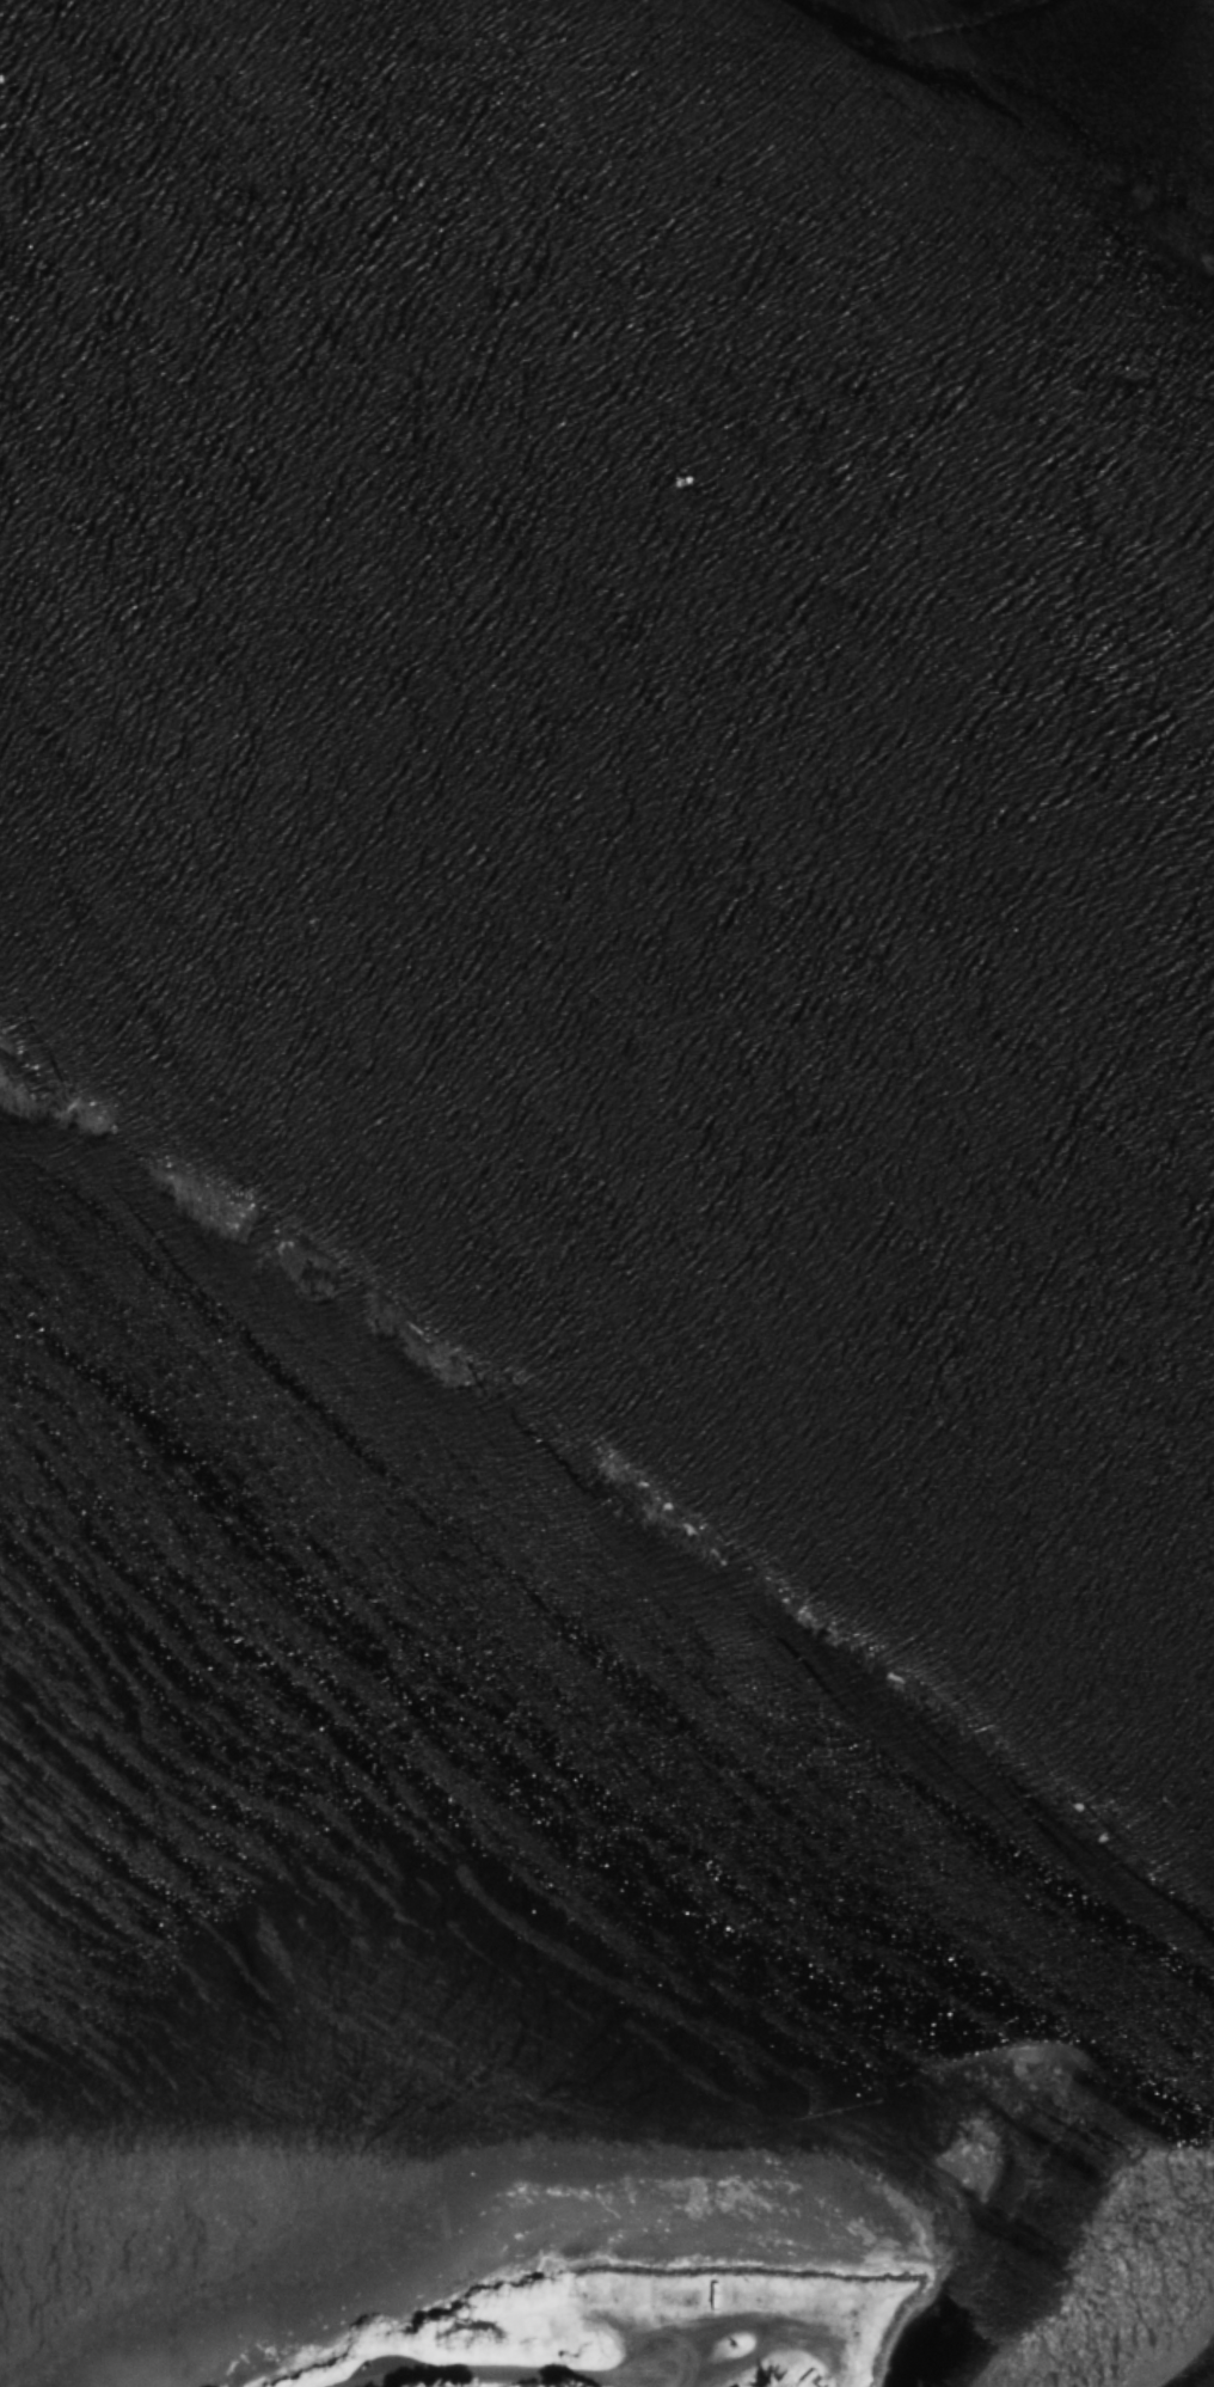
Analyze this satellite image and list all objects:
river: (607, 742)
road: (716, 2328)
parking lot: (382, 2360)
road: (472, 2369)
road: (697, 2369)
road: (624, 2381)
road: (634, 2386)
building: (732, 2386)
building: (778, 2386)

